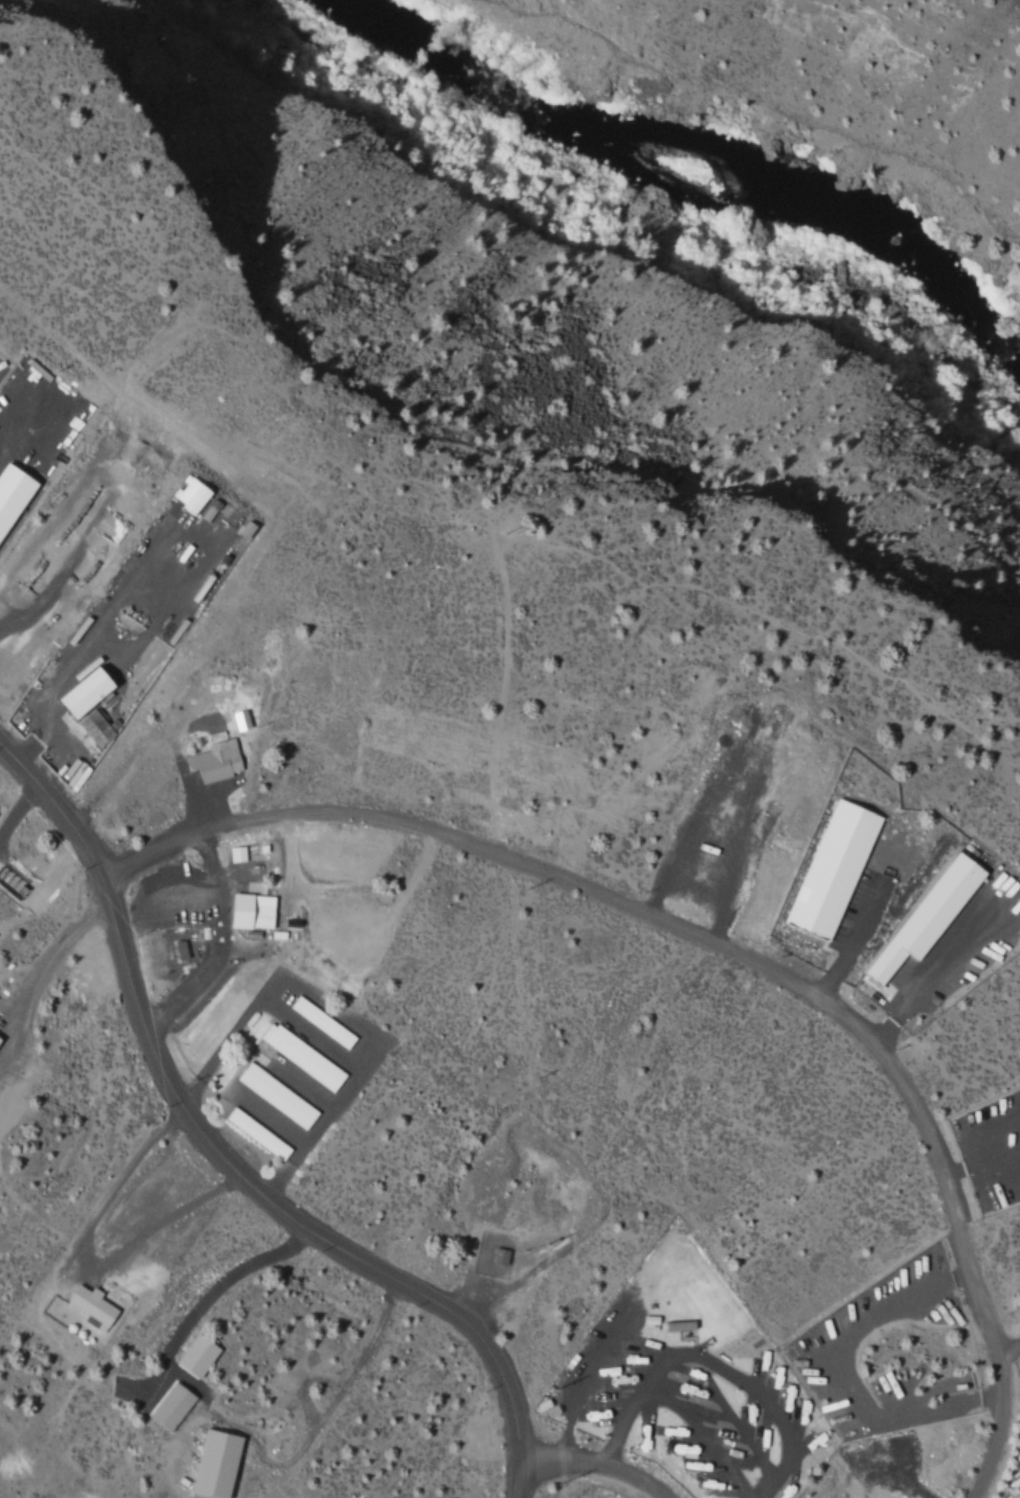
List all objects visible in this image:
river: (694, 177)
building: (11, 492)
building: (191, 495)
building: (246, 528)
building: (83, 691)
building: (240, 719)
building: (93, 727)
building: (215, 758)
building: (236, 853)
building: (832, 869)
building: (250, 910)
building: (927, 915)
road: (720, 951)
building: (319, 1020)
building: (302, 1056)
building: (276, 1095)
building: (257, 1133)
road: (222, 1163)
building: (499, 1256)
building: (91, 1307)
building: (196, 1356)
building: (170, 1406)
building: (215, 1463)
road: (591, 1464)

